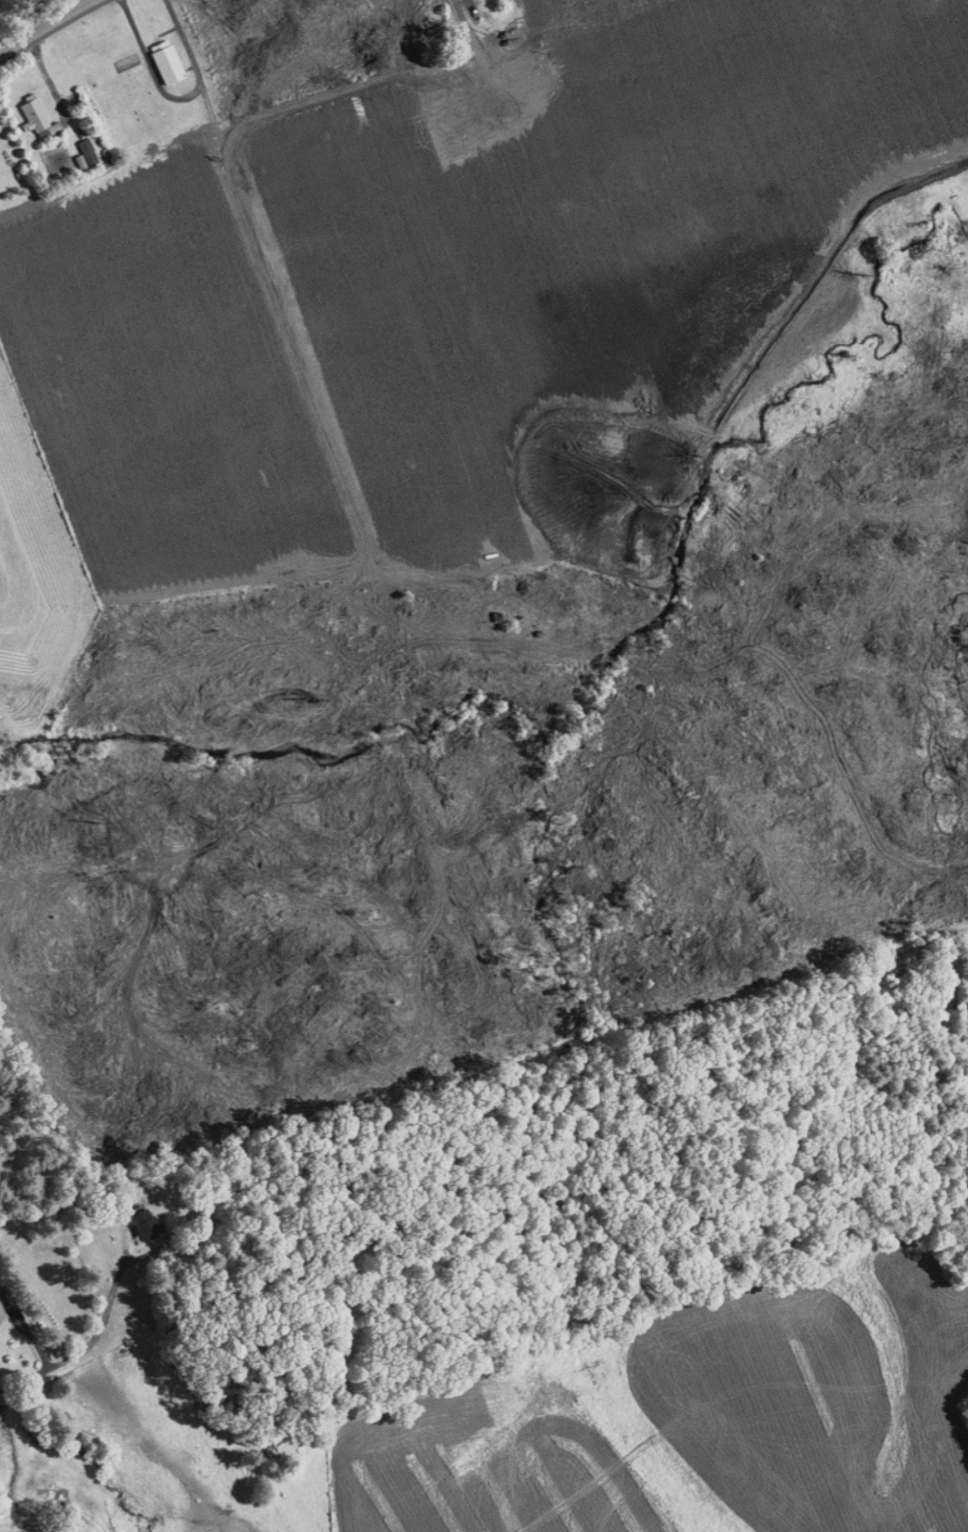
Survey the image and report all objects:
road: (51, 29)
road: (500, 84)
park: (129, 112)
building: (136, 1219)
road: (87, 1346)

